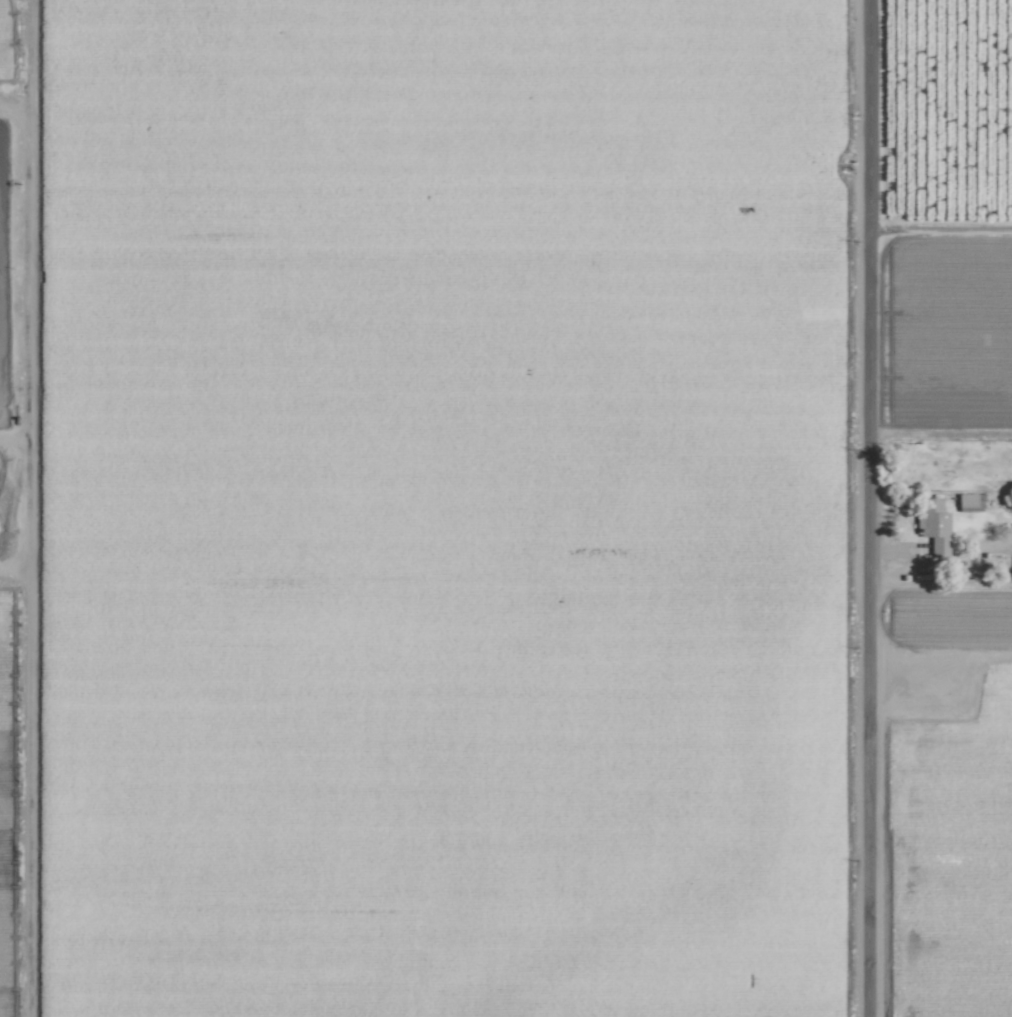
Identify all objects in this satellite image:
building: (963, 499)
road: (867, 508)
building: (929, 518)

